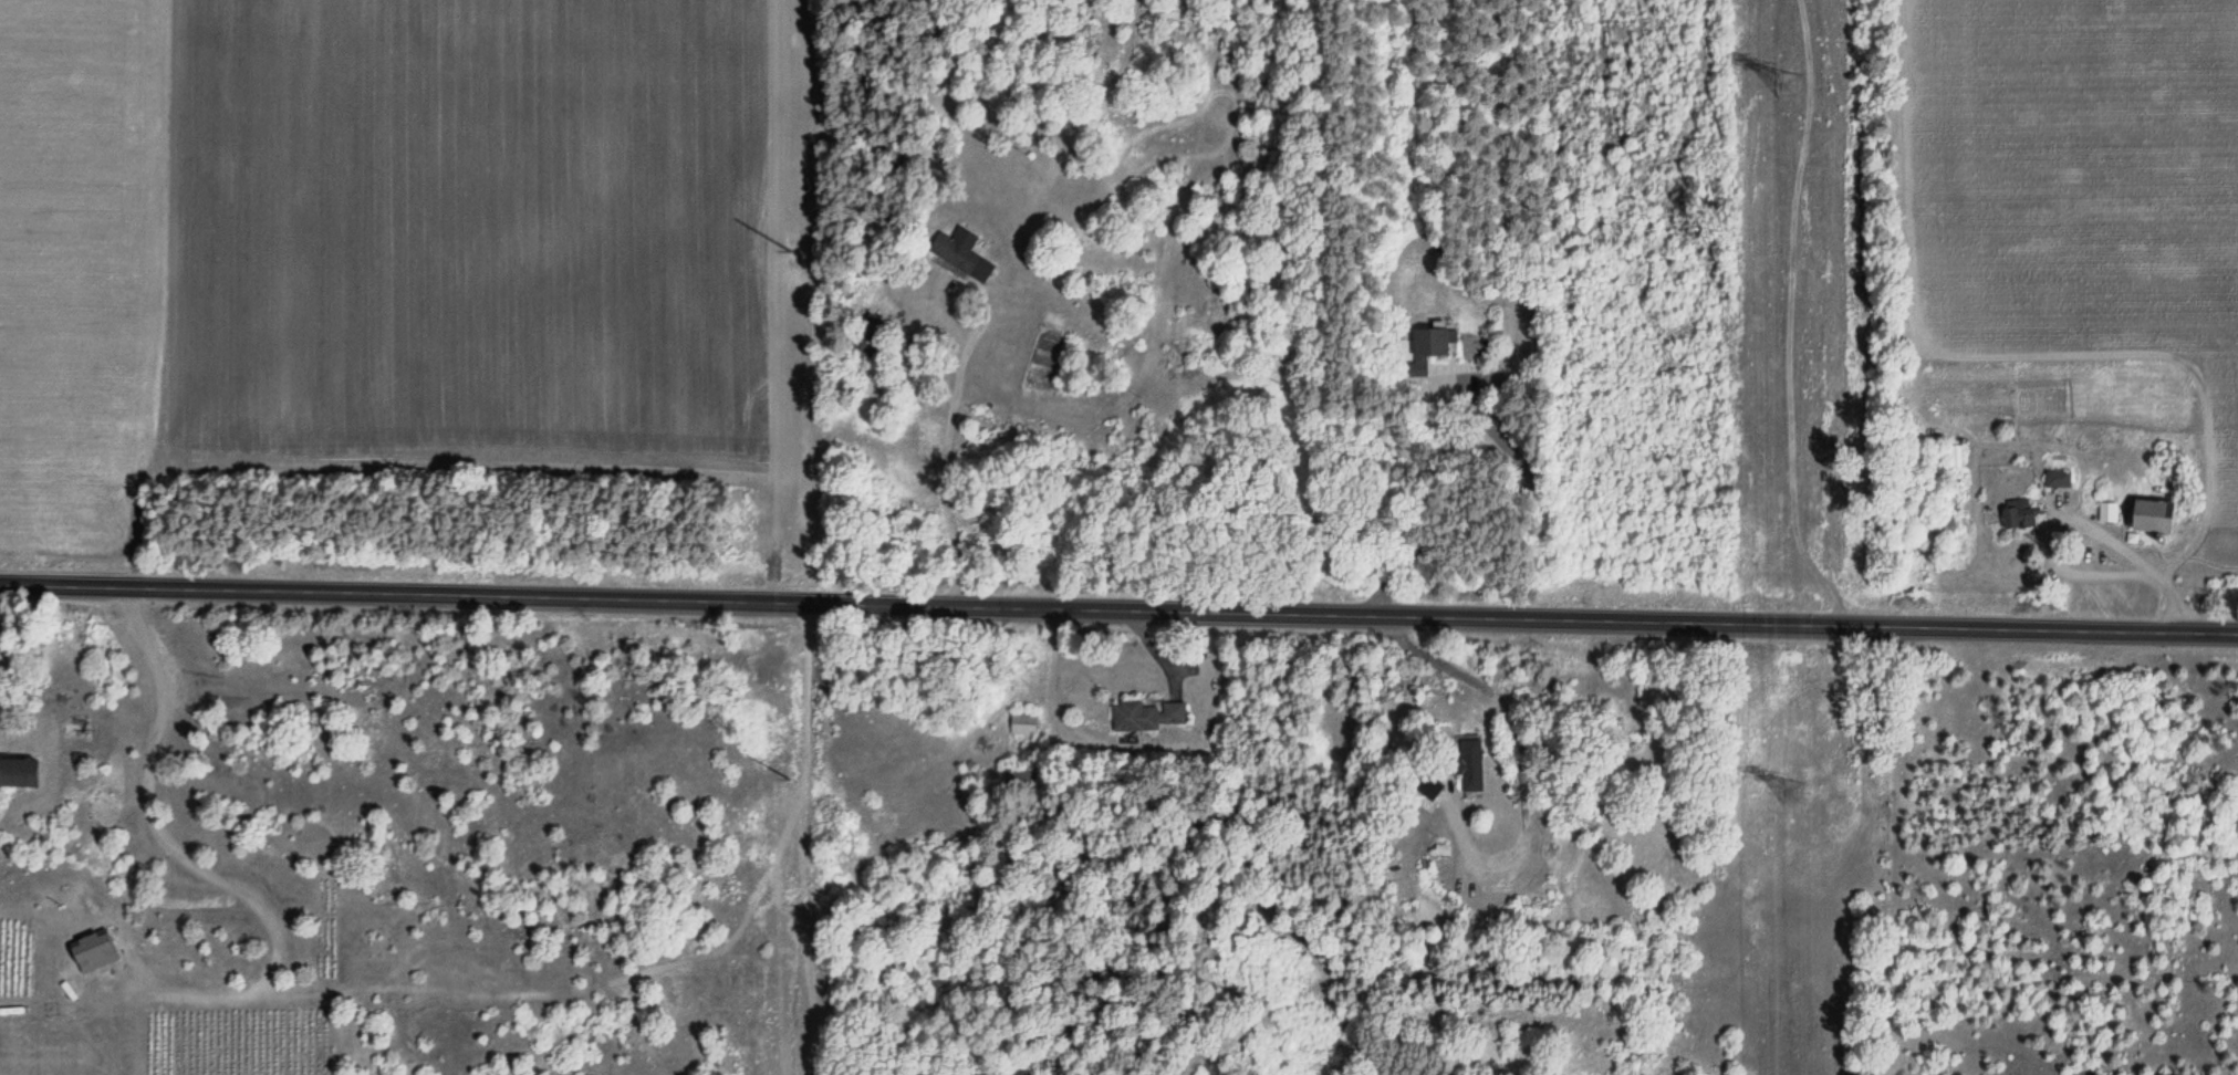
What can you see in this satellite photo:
power tower: (1791, 85)
building: (958, 254)
building: (865, 336)
building: (1424, 349)
building: (1954, 457)
building: (2054, 479)
road: (1074, 497)
building: (2105, 512)
building: (2016, 514)
building: (2145, 516)
road: (1118, 610)
building: (1146, 716)
building: (1022, 723)
building: (1466, 761)
power tower: (1794, 790)
building: (34, 1023)

